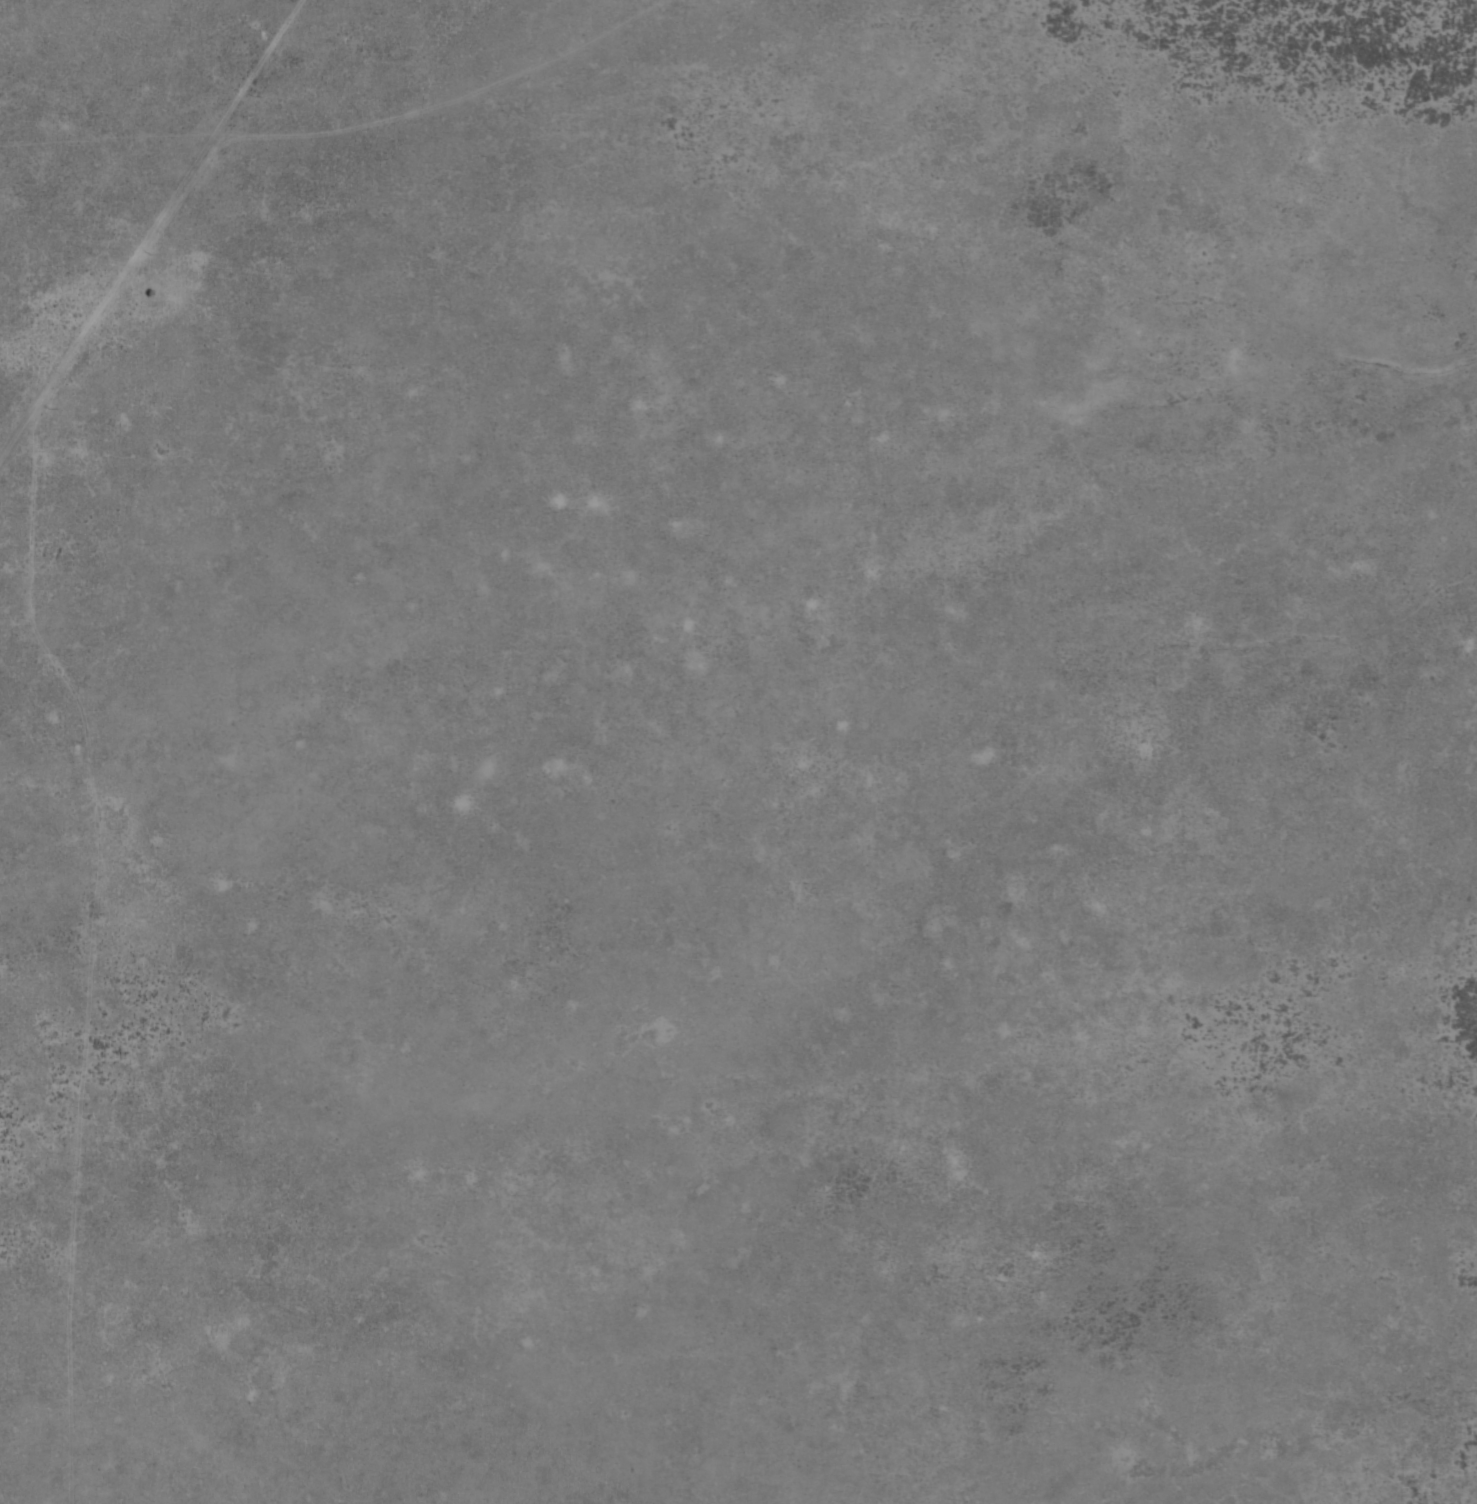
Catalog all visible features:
road: (149, 229)

